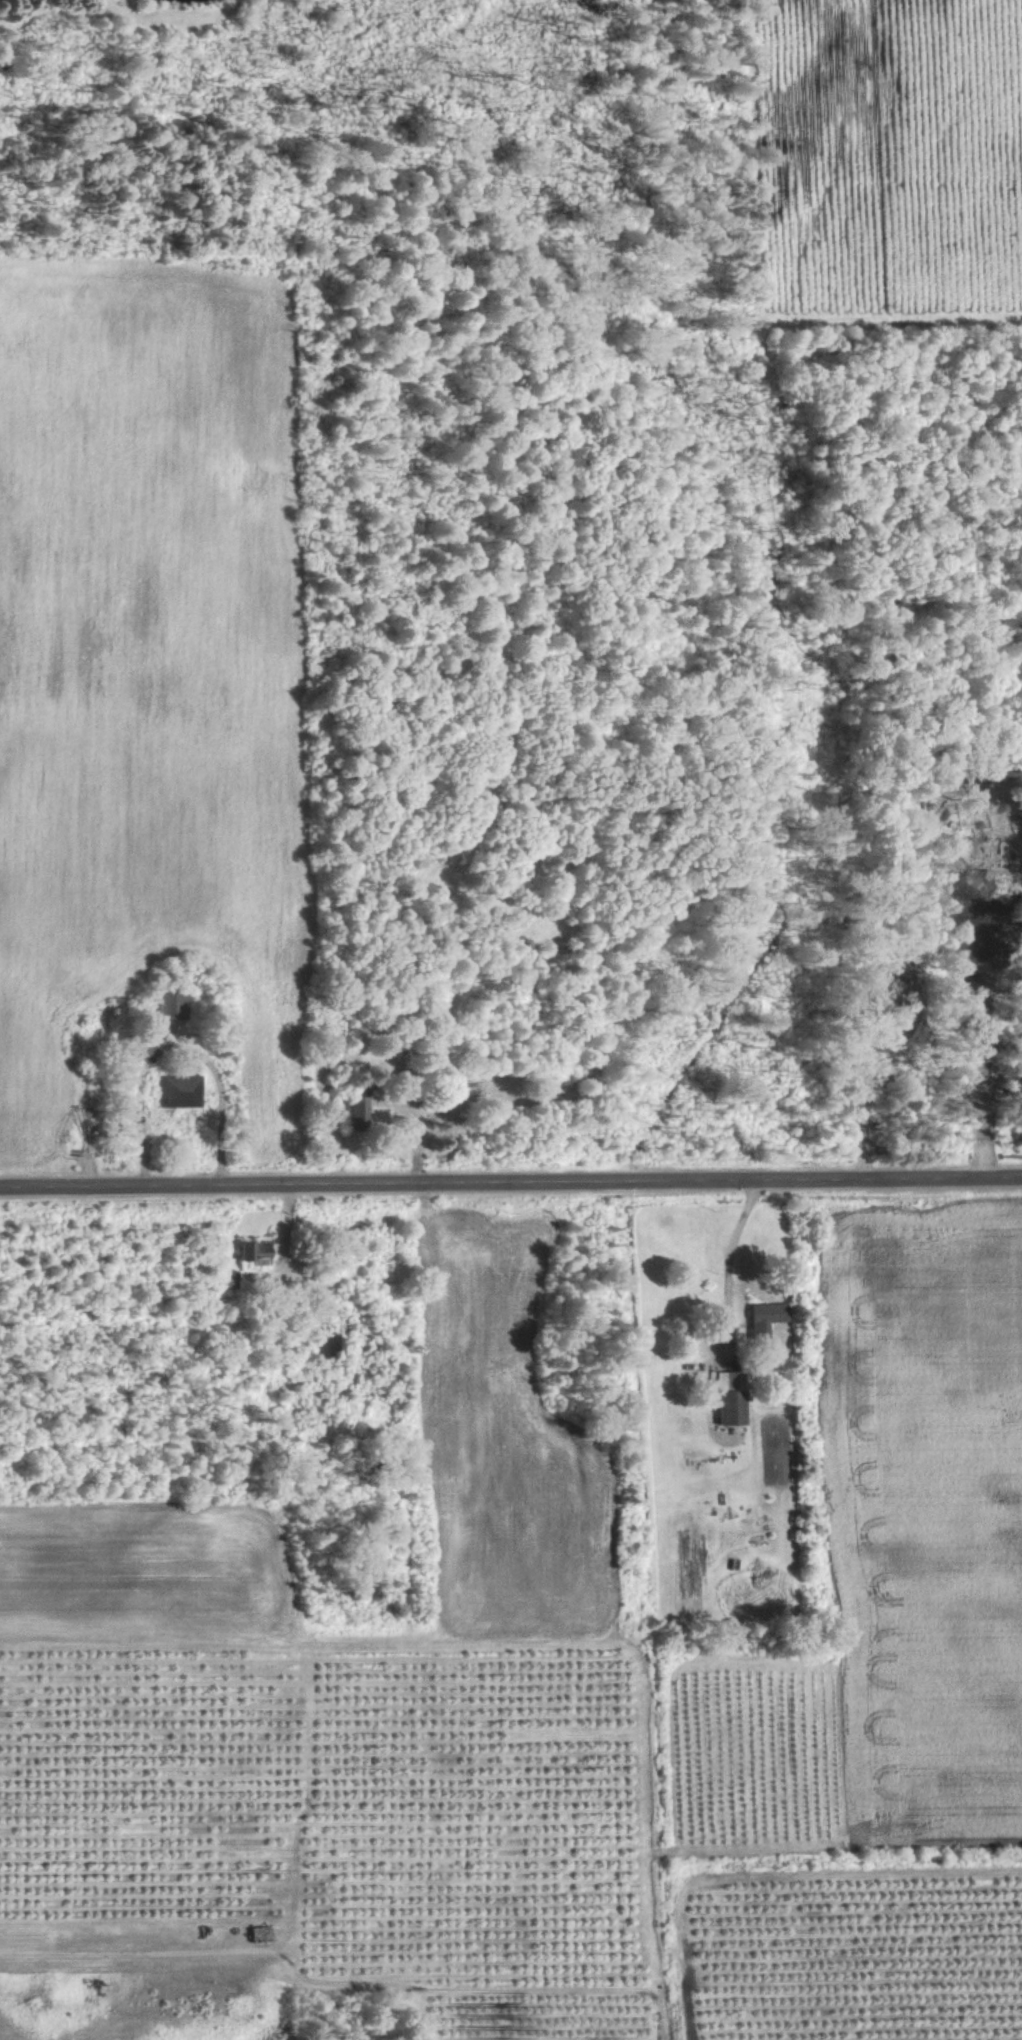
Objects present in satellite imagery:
building: (171, 1004)
road: (174, 1042)
building: (179, 1091)
building: (353, 1108)
road: (416, 1132)
road: (510, 1178)
building: (253, 1248)
road: (727, 1256)
building: (761, 1318)
building: (724, 1400)
crop: (506, 1443)
crop: (934, 1510)
crop: (140, 1568)
crop: (147, 1771)
crop: (476, 1805)
crop: (861, 1954)
crop: (540, 2019)

